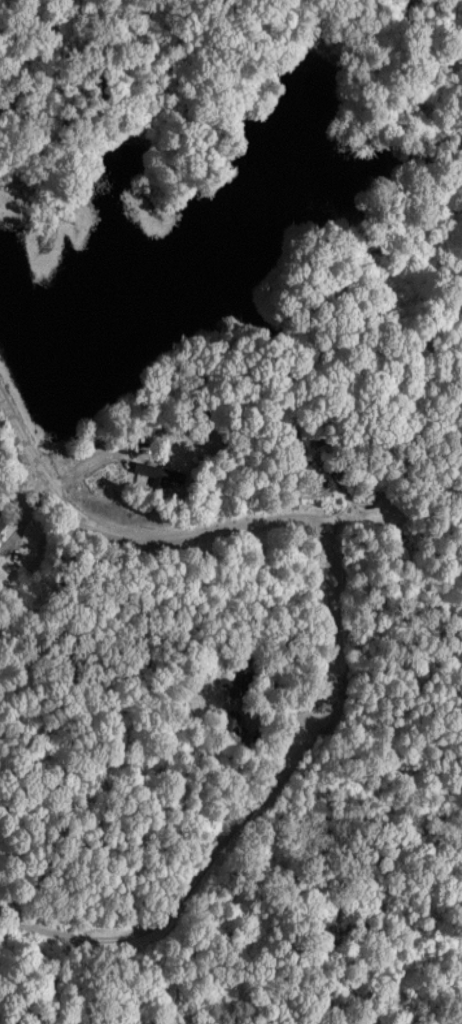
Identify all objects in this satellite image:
road: (38, 106)
road: (338, 637)

